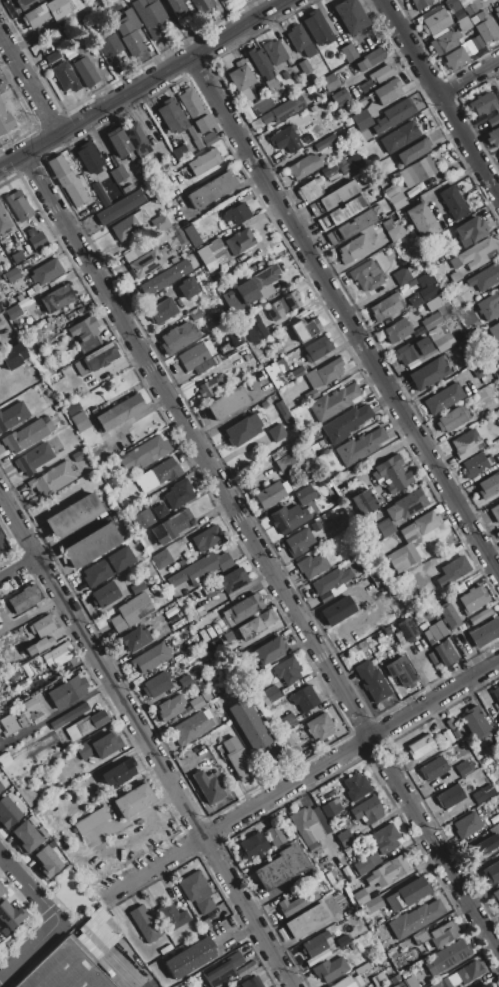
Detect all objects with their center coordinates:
building: (222, 0)
building: (446, 0)
building: (24, 3)
building: (420, 4)
building: (202, 5)
building: (452, 5)
building: (175, 7)
building: (470, 9)
building: (497, 12)
building: (44, 13)
building: (150, 16)
building: (350, 16)
building: (434, 21)
building: (463, 24)
building: (317, 28)
building: (485, 30)
building: (128, 31)
building: (300, 41)
building: (448, 41)
building: (476, 43)
building: (359, 46)
building: (110, 49)
building: (274, 52)
building: (349, 53)
building: (52, 57)
building: (456, 58)
building: (370, 59)
building: (260, 63)
building: (85, 72)
building: (382, 74)
building: (65, 77)
road: (470, 80)
building: (241, 81)
building: (330, 82)
road: (30, 84)
building: (272, 85)
road: (144, 86)
building: (365, 87)
building: (385, 92)
road: (441, 97)
building: (341, 98)
building: (483, 104)
building: (262, 106)
building: (283, 110)
building: (399, 111)
building: (171, 116)
building: (197, 120)
building: (362, 120)
building: (5, 121)
building: (479, 121)
building: (493, 122)
building: (380, 125)
building: (399, 137)
building: (493, 137)
building: (286, 139)
building: (128, 141)
building: (321, 145)
building: (413, 151)
building: (498, 155)
building: (89, 159)
building: (204, 162)
building: (304, 167)
building: (344, 168)
building: (329, 170)
building: (417, 171)
building: (121, 179)
building: (67, 181)
building: (211, 190)
building: (310, 190)
building: (392, 191)
building: (413, 191)
building: (100, 194)
building: (333, 198)
building: (398, 201)
building: (453, 203)
building: (19, 205)
building: (120, 207)
building: (377, 210)
building: (341, 213)
building: (235, 215)
building: (4, 221)
building: (422, 222)
building: (160, 223)
building: (128, 226)
building: (350, 227)
building: (379, 229)
building: (470, 231)
building: (396, 233)
building: (191, 236)
building: (37, 241)
building: (239, 242)
building: (353, 249)
building: (477, 254)
building: (213, 255)
building: (18, 257)
building: (129, 257)
building: (145, 264)
building: (46, 272)
building: (12, 275)
building: (365, 276)
building: (402, 277)
building: (165, 278)
building: (485, 278)
building: (257, 286)
building: (187, 288)
building: (429, 291)
building: (415, 301)
building: (51, 302)
building: (232, 302)
building: (431, 304)
building: (283, 306)
building: (489, 307)
building: (385, 308)
building: (161, 311)
building: (14, 312)
building: (195, 315)
road: (345, 318)
building: (434, 320)
building: (84, 328)
building: (305, 329)
building: (397, 330)
building: (258, 331)
building: (418, 332)
building: (495, 332)
building: (178, 338)
building: (233, 338)
building: (441, 340)
building: (277, 349)
building: (317, 349)
building: (411, 350)
building: (12, 356)
building: (196, 356)
building: (97, 358)
building: (480, 370)
building: (430, 372)
building: (277, 373)
building: (298, 373)
building: (324, 374)
building: (209, 388)
building: (310, 395)
building: (443, 399)
building: (334, 402)
building: (227, 403)
building: (126, 409)
road: (233, 412)
building: (12, 416)
building: (452, 419)
building: (79, 422)
building: (346, 424)
building: (242, 430)
building: (277, 433)
building: (26, 436)
building: (466, 444)
building: (359, 447)
building: (145, 454)
building: (77, 455)
building: (33, 459)
building: (497, 459)
building: (286, 463)
building: (476, 465)
building: (158, 474)
building: (392, 475)
building: (52, 479)
building: (115, 483)
building: (489, 486)
building: (179, 495)
building: (270, 495)
building: (305, 495)
building: (363, 502)
building: (406, 506)
building: (159, 510)
building: (495, 513)
building: (73, 515)
building: (143, 518)
building: (289, 519)
building: (420, 525)
building: (172, 527)
building: (386, 528)
building: (497, 533)
building: (208, 539)
building: (299, 542)
building: (3, 544)
building: (92, 546)
road: (261, 555)
building: (403, 557)
building: (120, 559)
building: (162, 559)
building: (312, 565)
building: (200, 569)
road: (19, 570)
building: (452, 570)
building: (96, 575)
building: (377, 579)
building: (233, 580)
building: (333, 580)
building: (137, 587)
building: (106, 595)
building: (24, 599)
building: (473, 599)
building: (245, 606)
building: (337, 611)
building: (131, 612)
building: (448, 616)
building: (481, 616)
building: (256, 624)
building: (42, 627)
building: (435, 630)
building: (405, 631)
building: (484, 633)
building: (134, 640)
building: (270, 651)
building: (441, 654)
building: (57, 656)
building: (151, 658)
building: (287, 671)
building: (401, 672)
building: (184, 681)
building: (372, 681)
building: (156, 684)
building: (27, 690)
road: (325, 690)
building: (66, 692)
building: (496, 693)
building: (272, 694)
building: (206, 695)
building: (305, 698)
building: (196, 703)
building: (30, 705)
building: (171, 707)
road: (60, 713)
building: (74, 713)
building: (98, 719)
building: (289, 721)
building: (17, 722)
building: (248, 723)
building: (475, 724)
building: (320, 727)
building: (192, 728)
building: (73, 733)
building: (290, 737)
road: (147, 739)
building: (99, 746)
building: (420, 747)
building: (207, 758)
building: (238, 759)
building: (432, 769)
building: (458, 772)
building: (122, 773)
road: (302, 780)
building: (203, 785)
building: (0, 787)
building: (356, 787)
building: (0, 789)
building: (449, 797)
building: (479, 797)
building: (133, 800)
building: (331, 809)
building: (368, 811)
building: (7, 813)
building: (92, 821)
building: (467, 825)
building: (307, 829)
building: (496, 830)
building: (274, 833)
building: (25, 837)
building: (386, 838)
building: (344, 839)
building: (254, 846)
building: (484, 846)
building: (47, 863)
building: (366, 863)
building: (346, 866)
building: (387, 872)
building: (491, 872)
building: (272, 873)
road: (29, 886)
building: (2, 889)
building: (196, 892)
park: (74, 894)
building: (408, 894)
building: (496, 896)
building: (360, 897)
building: (296, 903)
building: (374, 904)
road: (82, 909)
building: (10, 915)
building: (172, 917)
building: (415, 919)
building: (306, 921)
building: (143, 924)
building: (204, 925)
road: (315, 929)
building: (444, 934)
building: (343, 941)
building: (315, 944)
road: (31, 952)
building: (189, 957)
building: (447, 957)
road: (118, 965)
building: (223, 969)
building: (363, 969)
building: (65, 970)
building: (330, 970)
building: (460, 976)
building: (378, 979)
building: (395, 980)
building: (252, 982)
building: (348, 982)
building: (410, 982)
building: (399, 985)
building: (486, 985)
building: (227, 986)

